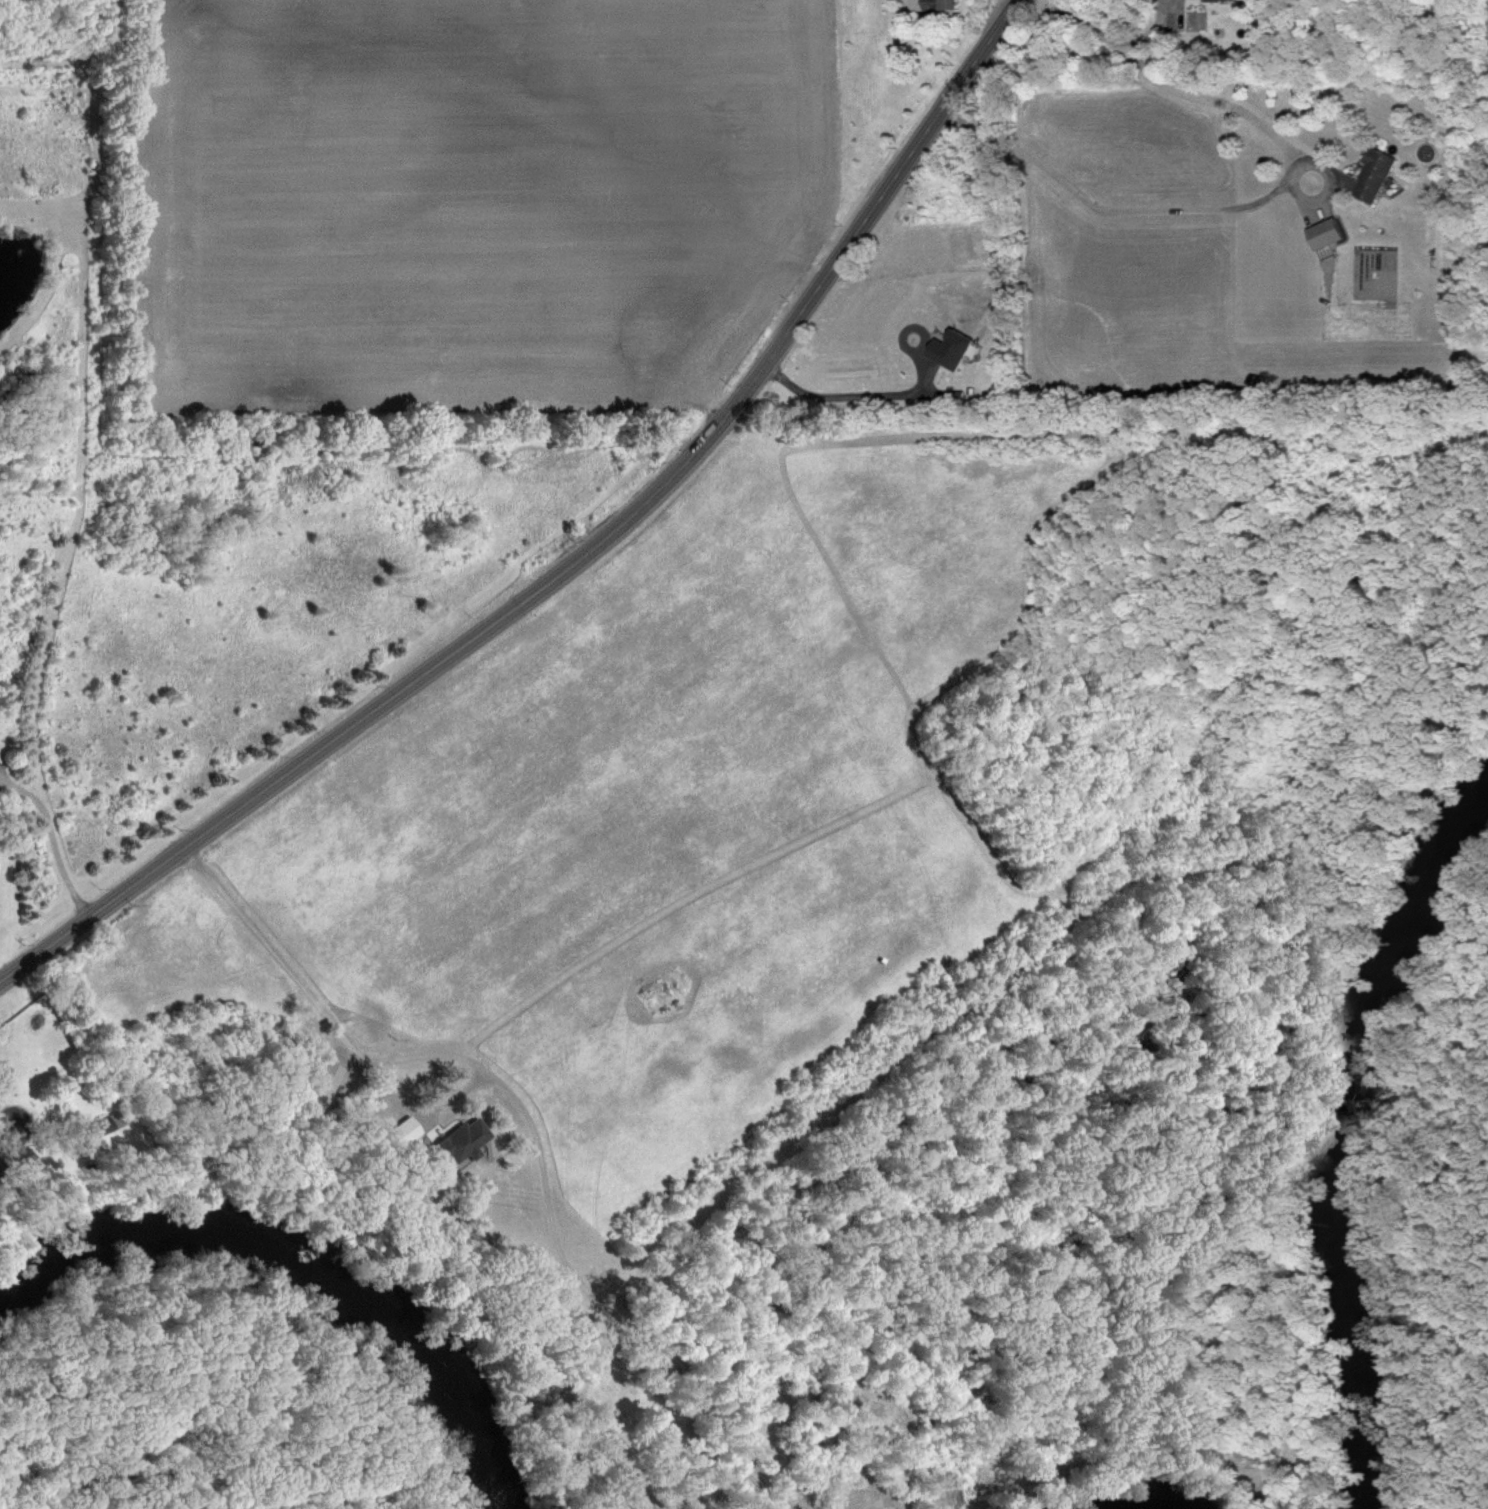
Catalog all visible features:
building: (1232, 0)
building: (937, 7)
road: (1006, 7)
road: (1109, 34)
building: (1372, 174)
road: (1165, 208)
building: (1323, 232)
building: (948, 347)
road: (862, 392)
road: (578, 560)
road: (50, 841)
road: (422, 1052)
building: (310, 1087)
building: (392, 1136)
river: (1320, 1136)
building: (456, 1140)
river: (292, 1260)

